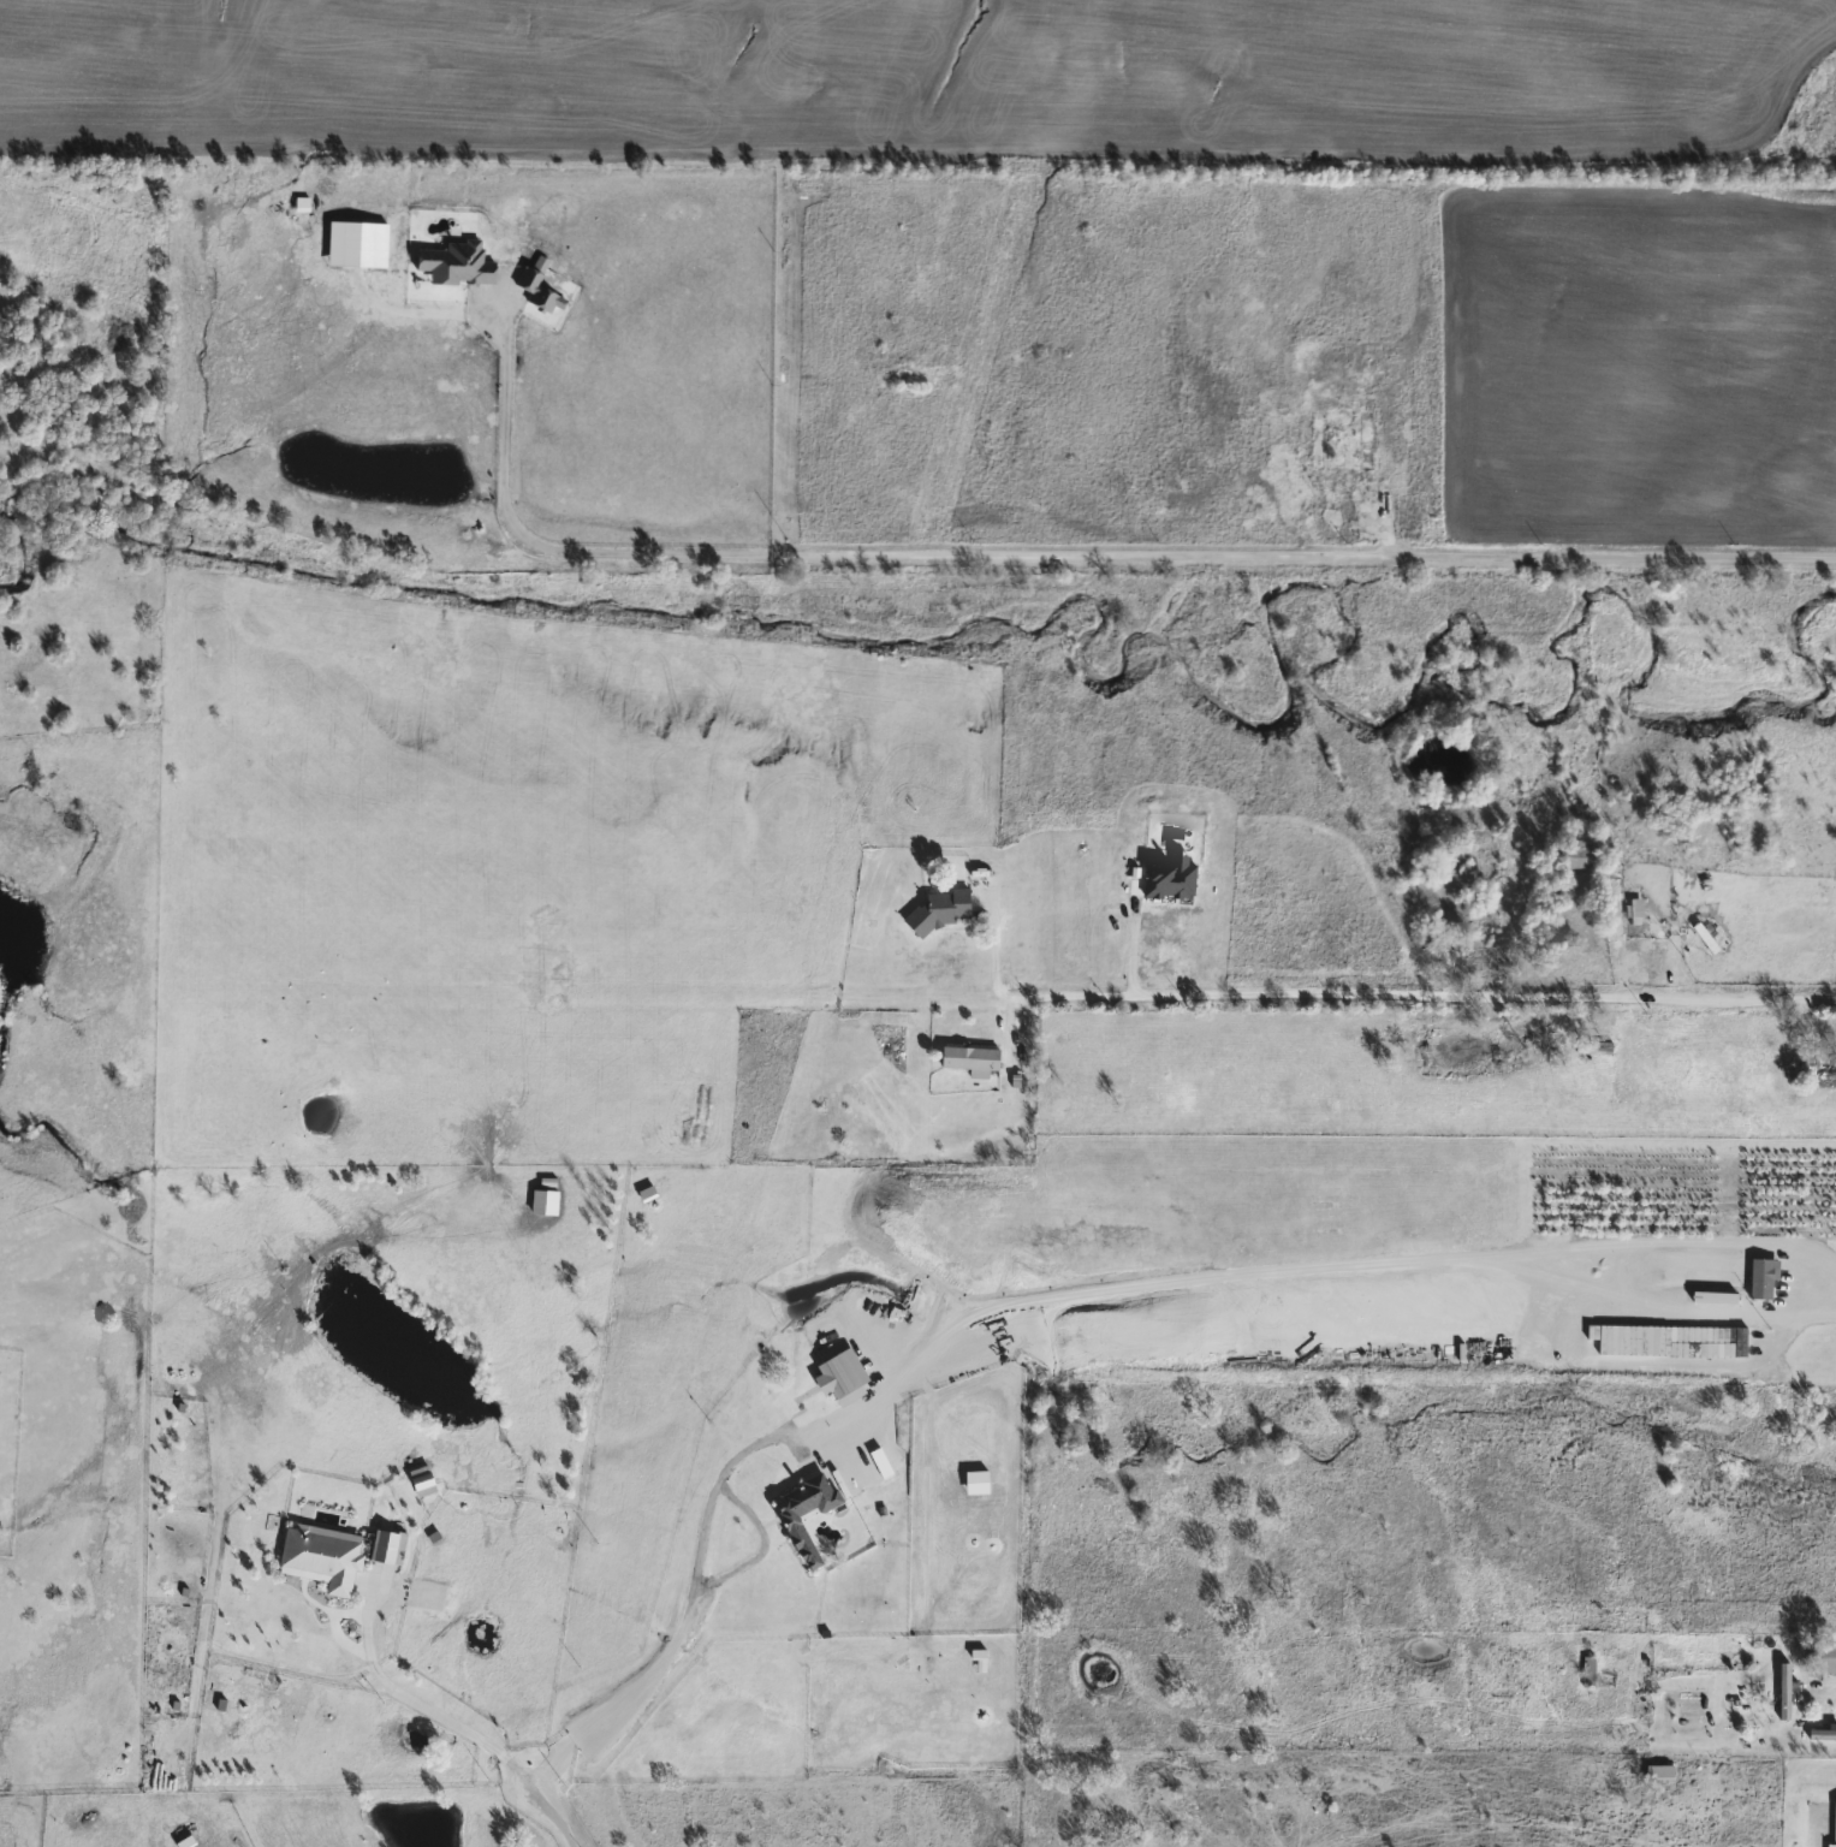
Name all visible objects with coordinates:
building: (299, 203)
building: (453, 262)
building: (535, 291)
building: (1315, 438)
building: (1365, 440)
road: (1065, 557)
building: (940, 910)
building: (1633, 911)
road: (1371, 1002)
building: (969, 1061)
building: (1812, 1071)
road: (1835, 1098)
building: (1761, 1278)
road: (1060, 1295)
building: (1712, 1299)
building: (1707, 1342)
building: (840, 1379)
building: (420, 1481)
building: (804, 1515)
building: (386, 1549)
building: (320, 1557)
building: (1826, 1658)
building: (1586, 1673)
building: (1758, 1687)
building: (1783, 1692)
road: (1820, 1692)
road: (426, 1712)
building: (1822, 1736)
building: (1657, 1774)
road: (548, 1811)
building: (1834, 1827)

